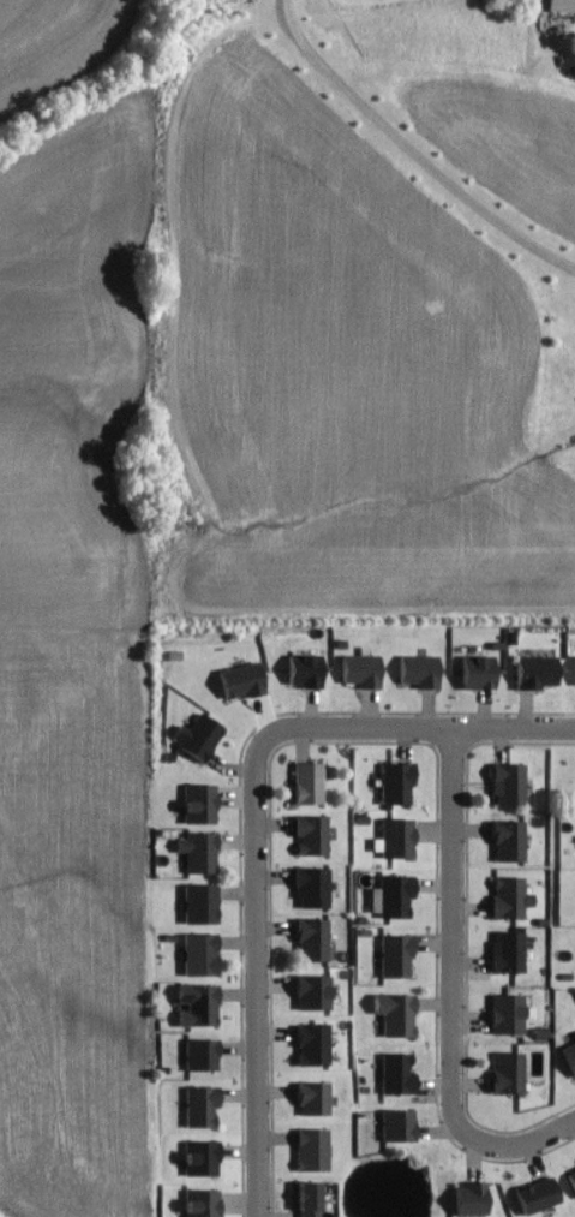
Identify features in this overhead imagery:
building: (561, 5)
road: (408, 155)
building: (305, 669)
building: (361, 669)
building: (419, 670)
building: (535, 670)
building: (478, 672)
building: (573, 672)
building: (241, 680)
road: (419, 727)
building: (197, 736)
building: (306, 782)
building: (395, 782)
building: (507, 783)
building: (198, 803)
building: (311, 834)
building: (396, 837)
building: (508, 841)
building: (198, 851)
building: (311, 887)
building: (391, 895)
building: (508, 897)
building: (199, 903)
building: (311, 938)
road: (453, 938)
building: (505, 951)
building: (198, 953)
building: (395, 955)
road: (258, 977)
building: (312, 991)
building: (196, 1004)
building: (395, 1013)
building: (505, 1013)
building: (312, 1044)
building: (200, 1054)
building: (569, 1057)
building: (396, 1073)
building: (507, 1073)
building: (312, 1098)
building: (200, 1105)
building: (397, 1124)
road: (527, 1144)
building: (311, 1149)
building: (199, 1157)
building: (571, 1180)
building: (537, 1194)
building: (306, 1198)
building: (469, 1199)
building: (200, 1203)

